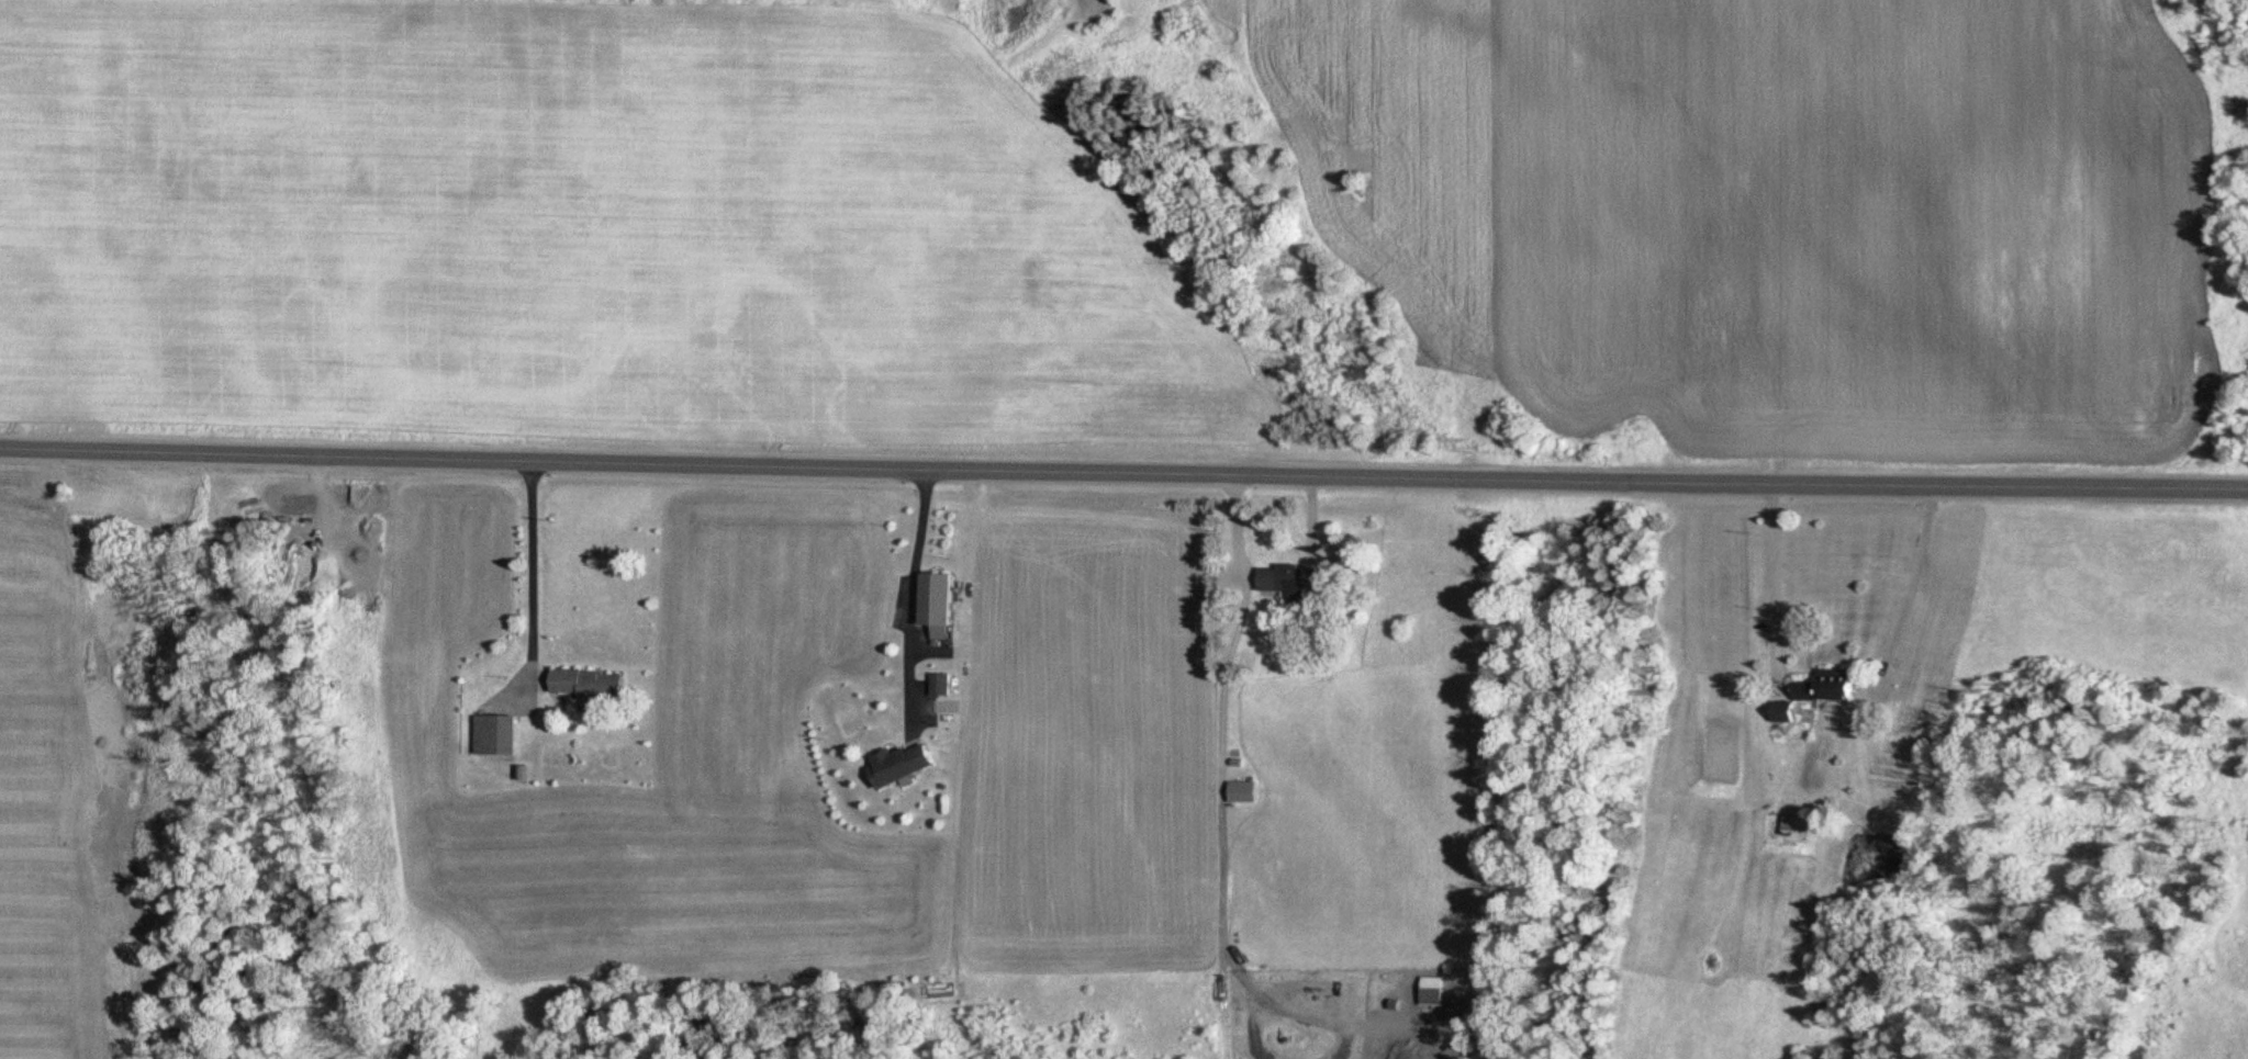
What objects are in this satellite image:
road: (1123, 471)
building: (1295, 582)
building: (940, 598)
building: (944, 684)
building: (1832, 686)
building: (593, 688)
building: (493, 735)
building: (907, 764)
building: (1248, 792)
building: (1791, 825)
building: (1436, 992)

